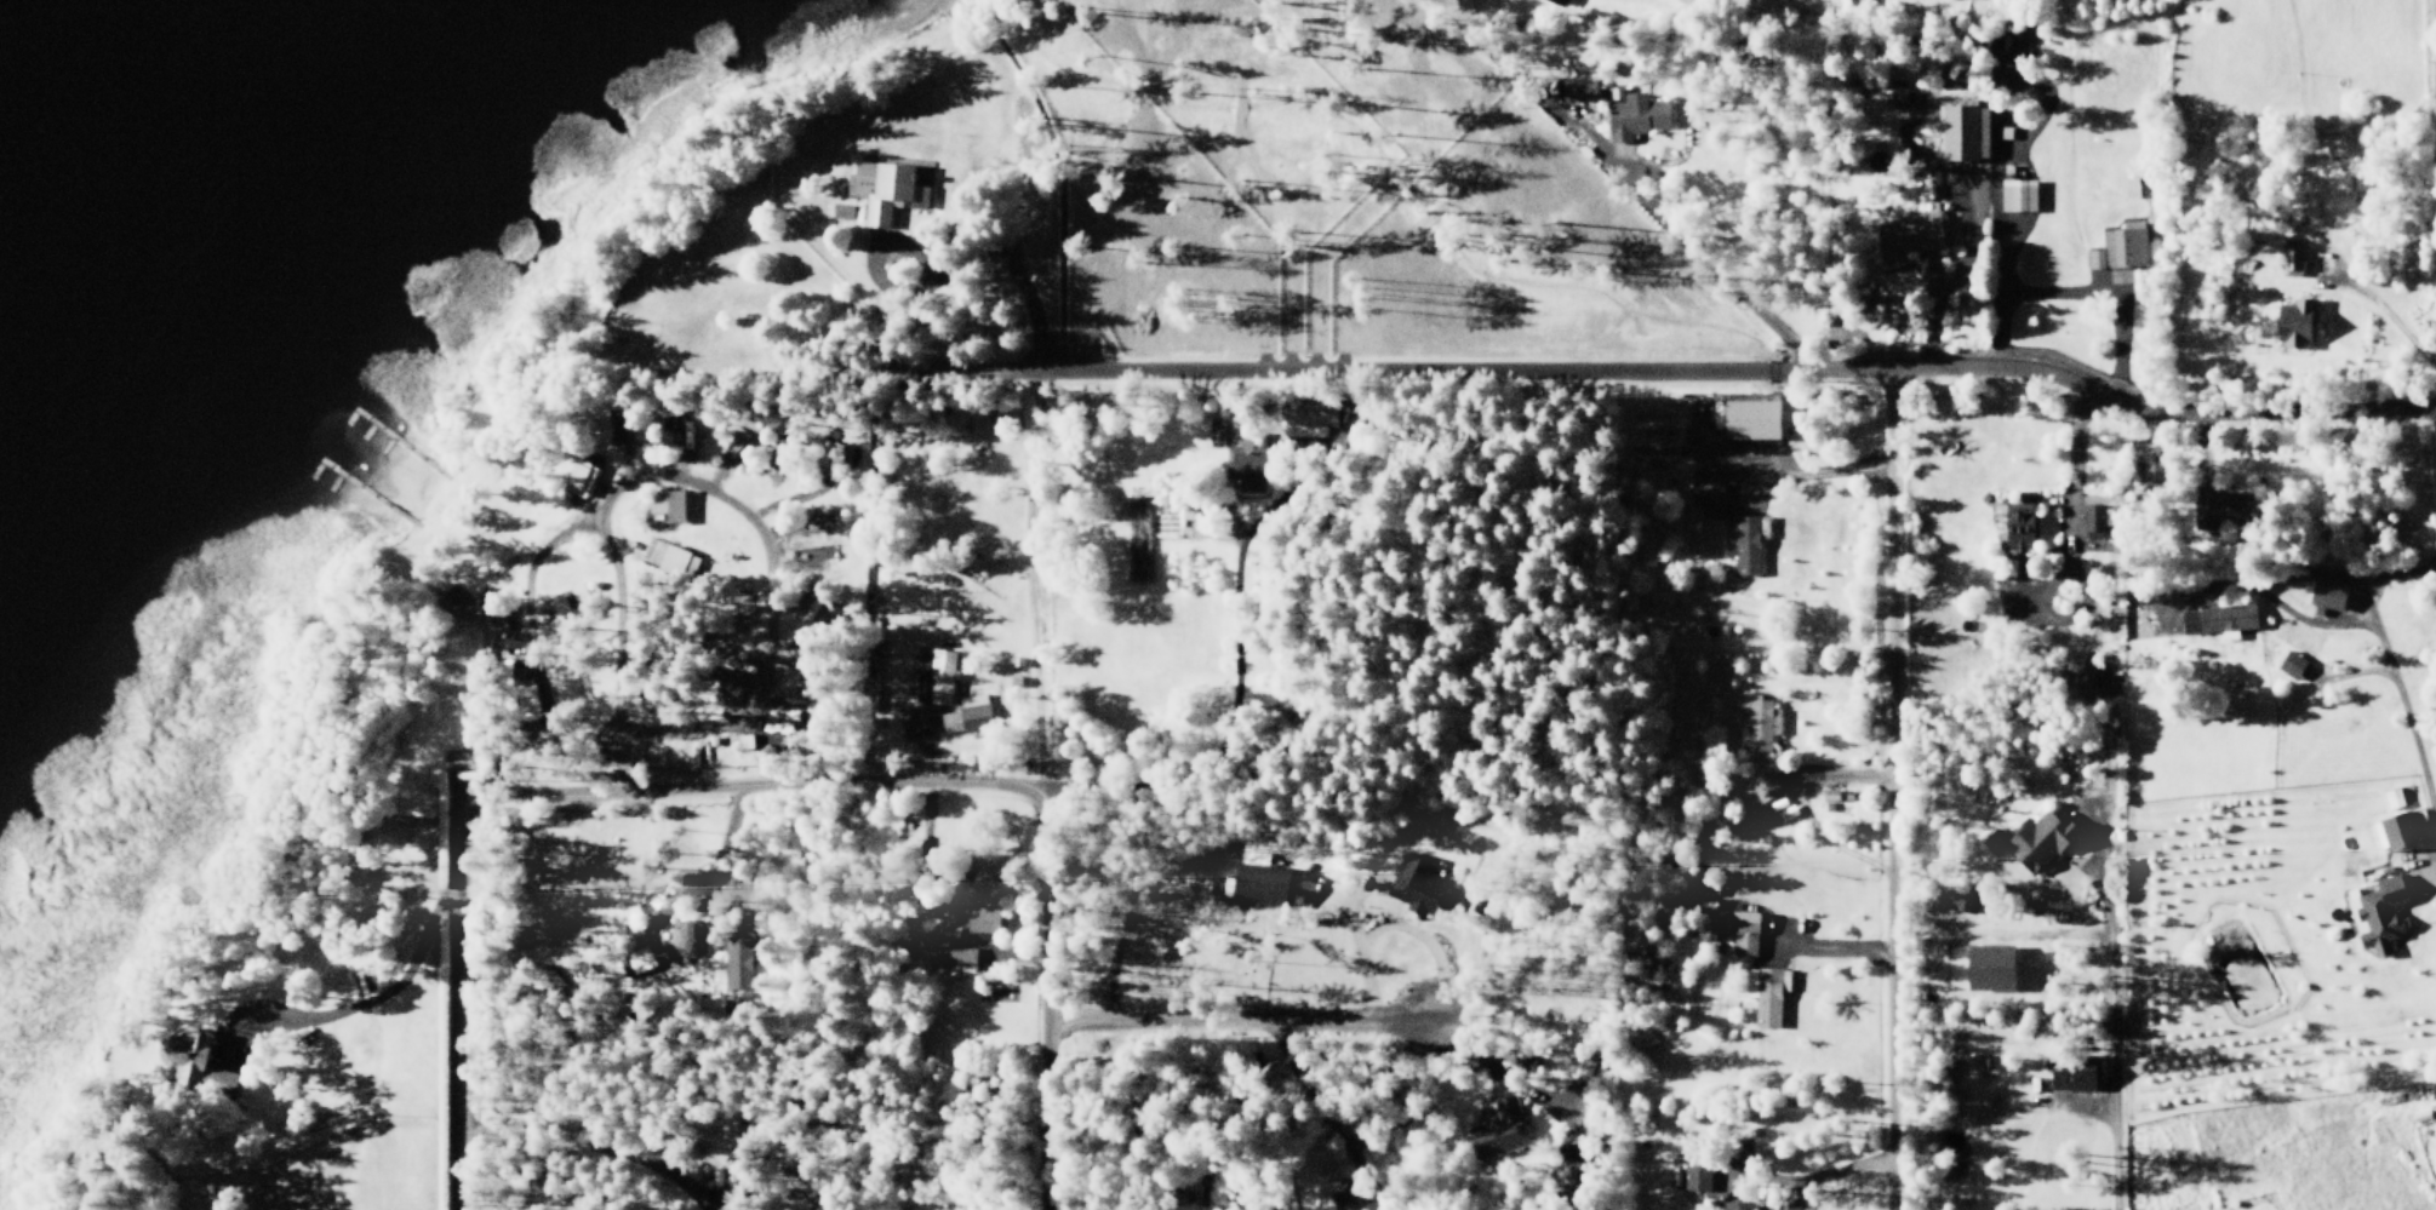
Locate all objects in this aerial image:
building: (1568, 1)
building: (1556, 2)
building: (1997, 58)
building: (1576, 91)
building: (1611, 94)
building: (1635, 117)
road: (2036, 120)
building: (1963, 133)
building: (2333, 145)
road: (1971, 168)
building: (2358, 184)
building: (892, 188)
building: (2015, 195)
building: (844, 210)
building: (1908, 241)
road: (1689, 242)
road: (1469, 245)
building: (2121, 252)
building: (2288, 257)
road: (1372, 296)
road: (2108, 297)
road: (2380, 310)
building: (2293, 322)
road: (513, 357)
road: (1250, 368)
road: (2099, 394)
building: (1746, 419)
building: (1309, 425)
road: (2152, 432)
building: (744, 441)
road: (2197, 453)
building: (1239, 464)
road: (1031, 468)
road: (1805, 476)
building: (2150, 476)
building: (574, 478)
road: (713, 480)
road: (698, 491)
building: (1705, 500)
building: (669, 505)
building: (2219, 511)
building: (2094, 522)
building: (2019, 524)
building: (1137, 539)
road: (790, 543)
building: (1748, 544)
road: (1237, 552)
building: (681, 560)
building: (806, 561)
road: (2352, 575)
road: (605, 584)
building: (578, 593)
road: (2139, 593)
building: (2323, 597)
building: (556, 604)
road: (2361, 609)
building: (2215, 619)
road: (621, 620)
road: (530, 627)
building: (2295, 633)
building: (2289, 665)
road: (2390, 671)
road: (2350, 672)
building: (933, 676)
building: (2080, 681)
building: (516, 705)
building: (963, 715)
building: (1759, 718)
building: (743, 739)
road: (927, 753)
building: (1765, 787)
road: (734, 788)
road: (1887, 788)
building: (1831, 795)
building: (1848, 796)
road: (1796, 804)
building: (2396, 825)
building: (2032, 841)
road: (2080, 862)
road: (2428, 871)
road: (707, 882)
building: (1414, 883)
road: (725, 884)
road: (1355, 885)
building: (1257, 887)
building: (1965, 901)
road: (1339, 902)
road: (2103, 902)
building: (2381, 905)
building: (973, 923)
road: (1386, 924)
building: (1744, 929)
road: (1995, 931)
building: (685, 939)
road: (1824, 942)
road: (178, 950)
building: (953, 957)
road: (1013, 958)
building: (636, 960)
building: (738, 962)
building: (1983, 968)
building: (1766, 992)
road: (1041, 994)
road: (361, 1005)
road: (453, 1010)
road: (1304, 1028)
building: (199, 1062)
building: (2075, 1069)
building: (1586, 1072)
road: (2089, 1105)
building: (2435, 1116)
building: (1497, 1131)
road: (593, 1136)
building: (1692, 1177)
road: (1795, 1183)
road: (1792, 1194)
building: (1339, 1195)
building: (1739, 1203)
building: (1769, 1209)

